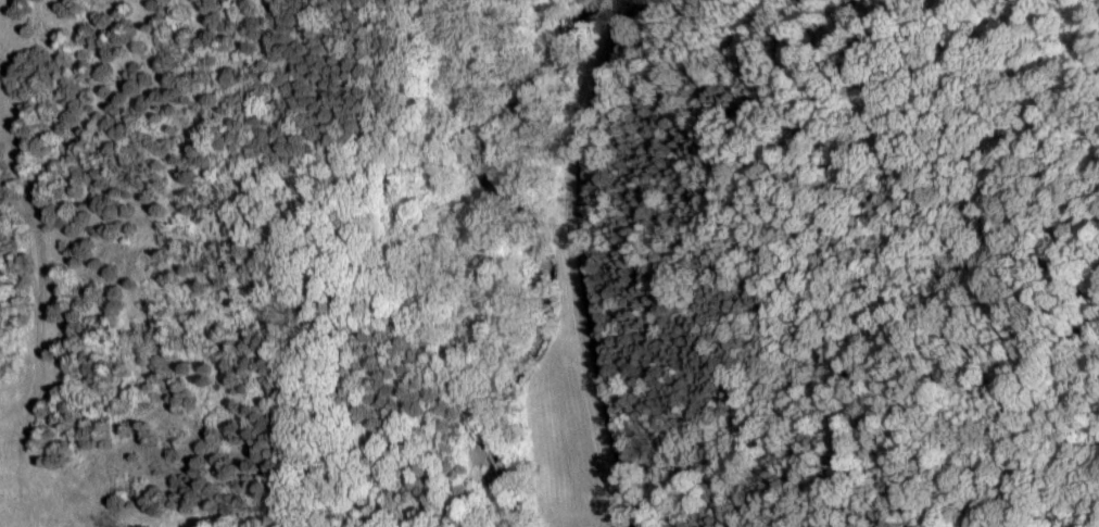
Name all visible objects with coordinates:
road: (572, 258)

